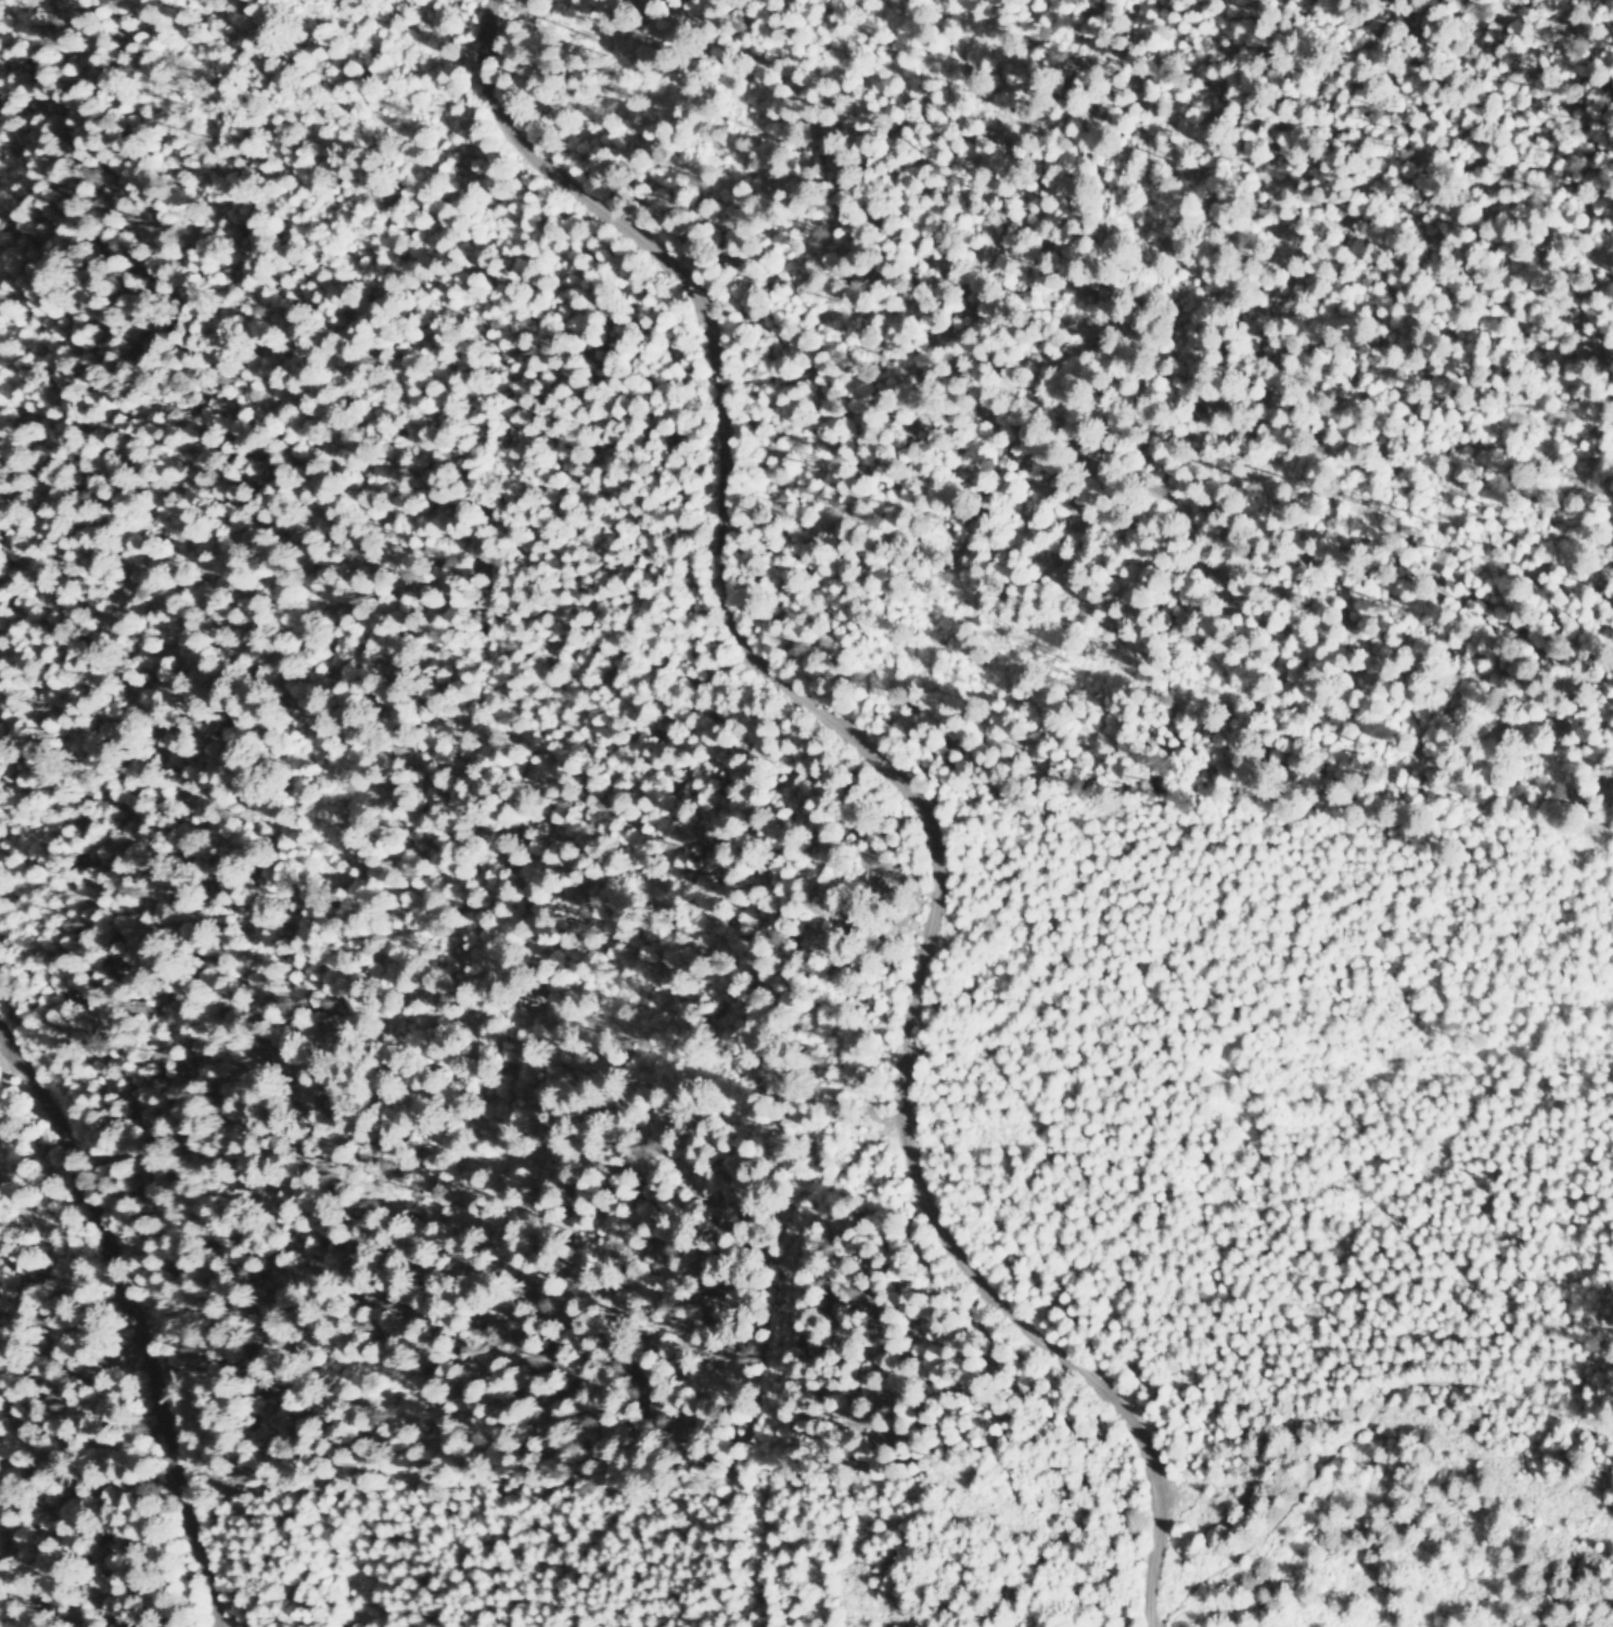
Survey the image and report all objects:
road: (905, 782)
road: (131, 1328)
road: (783, 1355)
road: (1356, 1430)

